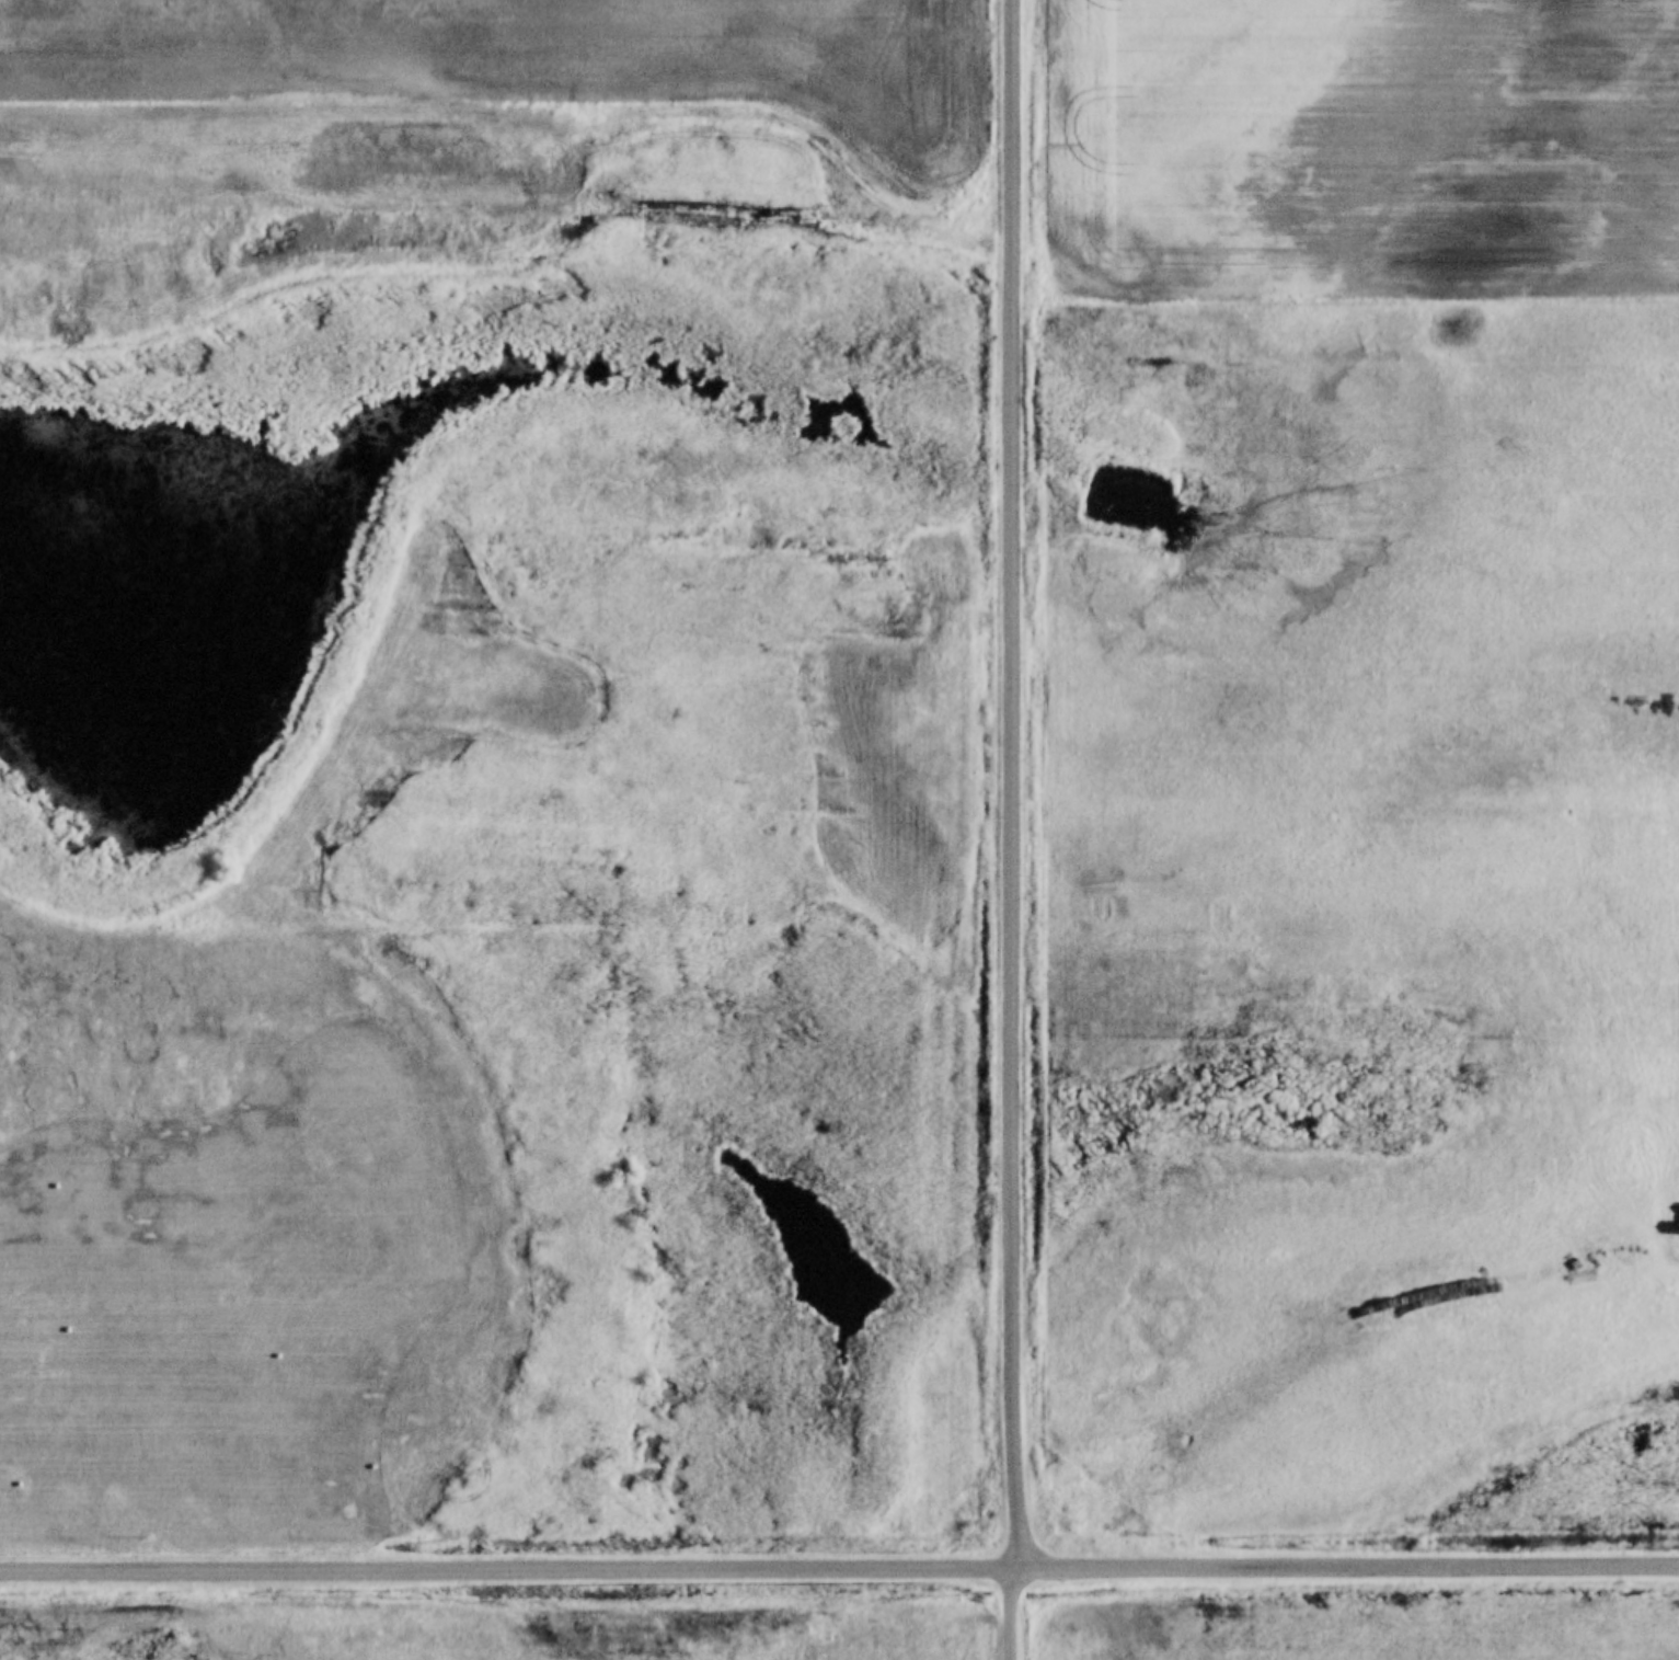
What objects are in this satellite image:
road: (1005, 782)
road: (839, 1566)
road: (1007, 1612)

